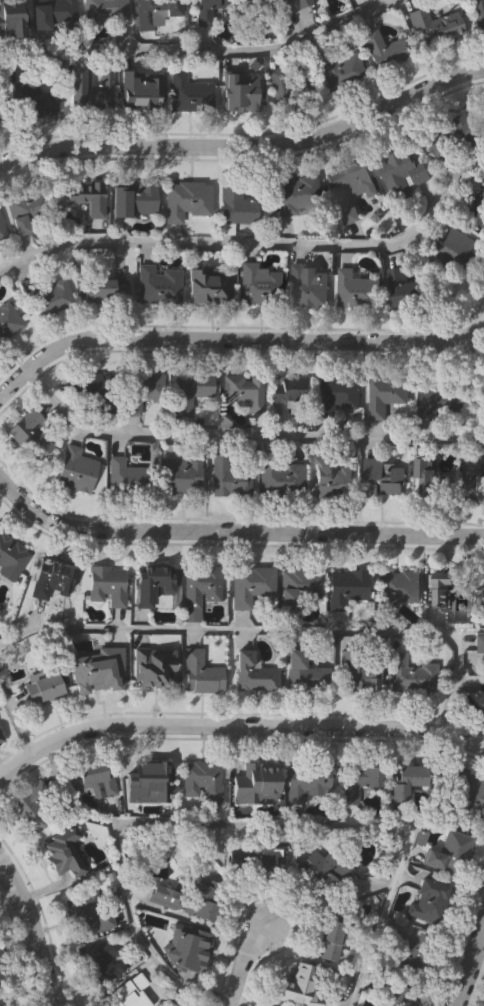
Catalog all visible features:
building: (300, 2)
building: (105, 10)
building: (206, 10)
building: (258, 12)
building: (478, 12)
building: (157, 13)
building: (11, 14)
building: (53, 14)
building: (434, 25)
building: (382, 48)
road: (199, 50)
building: (341, 70)
building: (289, 87)
building: (88, 88)
building: (140, 88)
building: (238, 90)
building: (189, 92)
building: (23, 108)
building: (449, 137)
road: (248, 144)
building: (399, 167)
building: (351, 178)
building: (296, 192)
building: (84, 198)
building: (133, 198)
building: (185, 199)
building: (234, 204)
building: (30, 207)
building: (1, 227)
road: (257, 243)
building: (453, 247)
building: (157, 283)
building: (307, 283)
building: (258, 284)
building: (209, 286)
building: (402, 286)
building: (355, 287)
building: (105, 289)
building: (51, 296)
building: (7, 315)
road: (238, 338)
building: (86, 385)
building: (140, 389)
building: (290, 389)
building: (188, 390)
building: (244, 392)
building: (384, 393)
building: (337, 394)
building: (480, 397)
building: (440, 401)
building: (29, 434)
road: (242, 436)
building: (75, 469)
building: (181, 473)
building: (231, 476)
building: (126, 477)
building: (282, 477)
building: (331, 477)
building: (381, 477)
building: (480, 482)
building: (434, 483)
road: (234, 533)
building: (12, 555)
building: (51, 577)
building: (447, 580)
building: (107, 584)
building: (250, 584)
building: (200, 585)
building: (153, 586)
building: (297, 586)
building: (346, 587)
building: (397, 588)
road: (278, 628)
building: (479, 644)
building: (153, 668)
building: (97, 669)
building: (253, 672)
building: (200, 673)
building: (333, 673)
building: (410, 675)
building: (43, 689)
building: (482, 711)
road: (15, 718)
road: (237, 724)
building: (0, 743)
building: (146, 773)
building: (255, 777)
building: (97, 778)
building: (406, 779)
building: (201, 780)
building: (307, 780)
building: (357, 781)
building: (470, 791)
building: (33, 808)
road: (240, 822)
building: (448, 853)
building: (62, 856)
building: (268, 863)
building: (316, 874)
building: (428, 900)
building: (181, 902)
building: (87, 913)
road: (30, 933)
building: (331, 939)
building: (186, 948)
building: (419, 953)
building: (100, 959)
road: (238, 959)
road: (468, 962)
building: (2, 974)
park: (476, 986)
building: (296, 987)
building: (128, 992)
building: (170, 1003)

